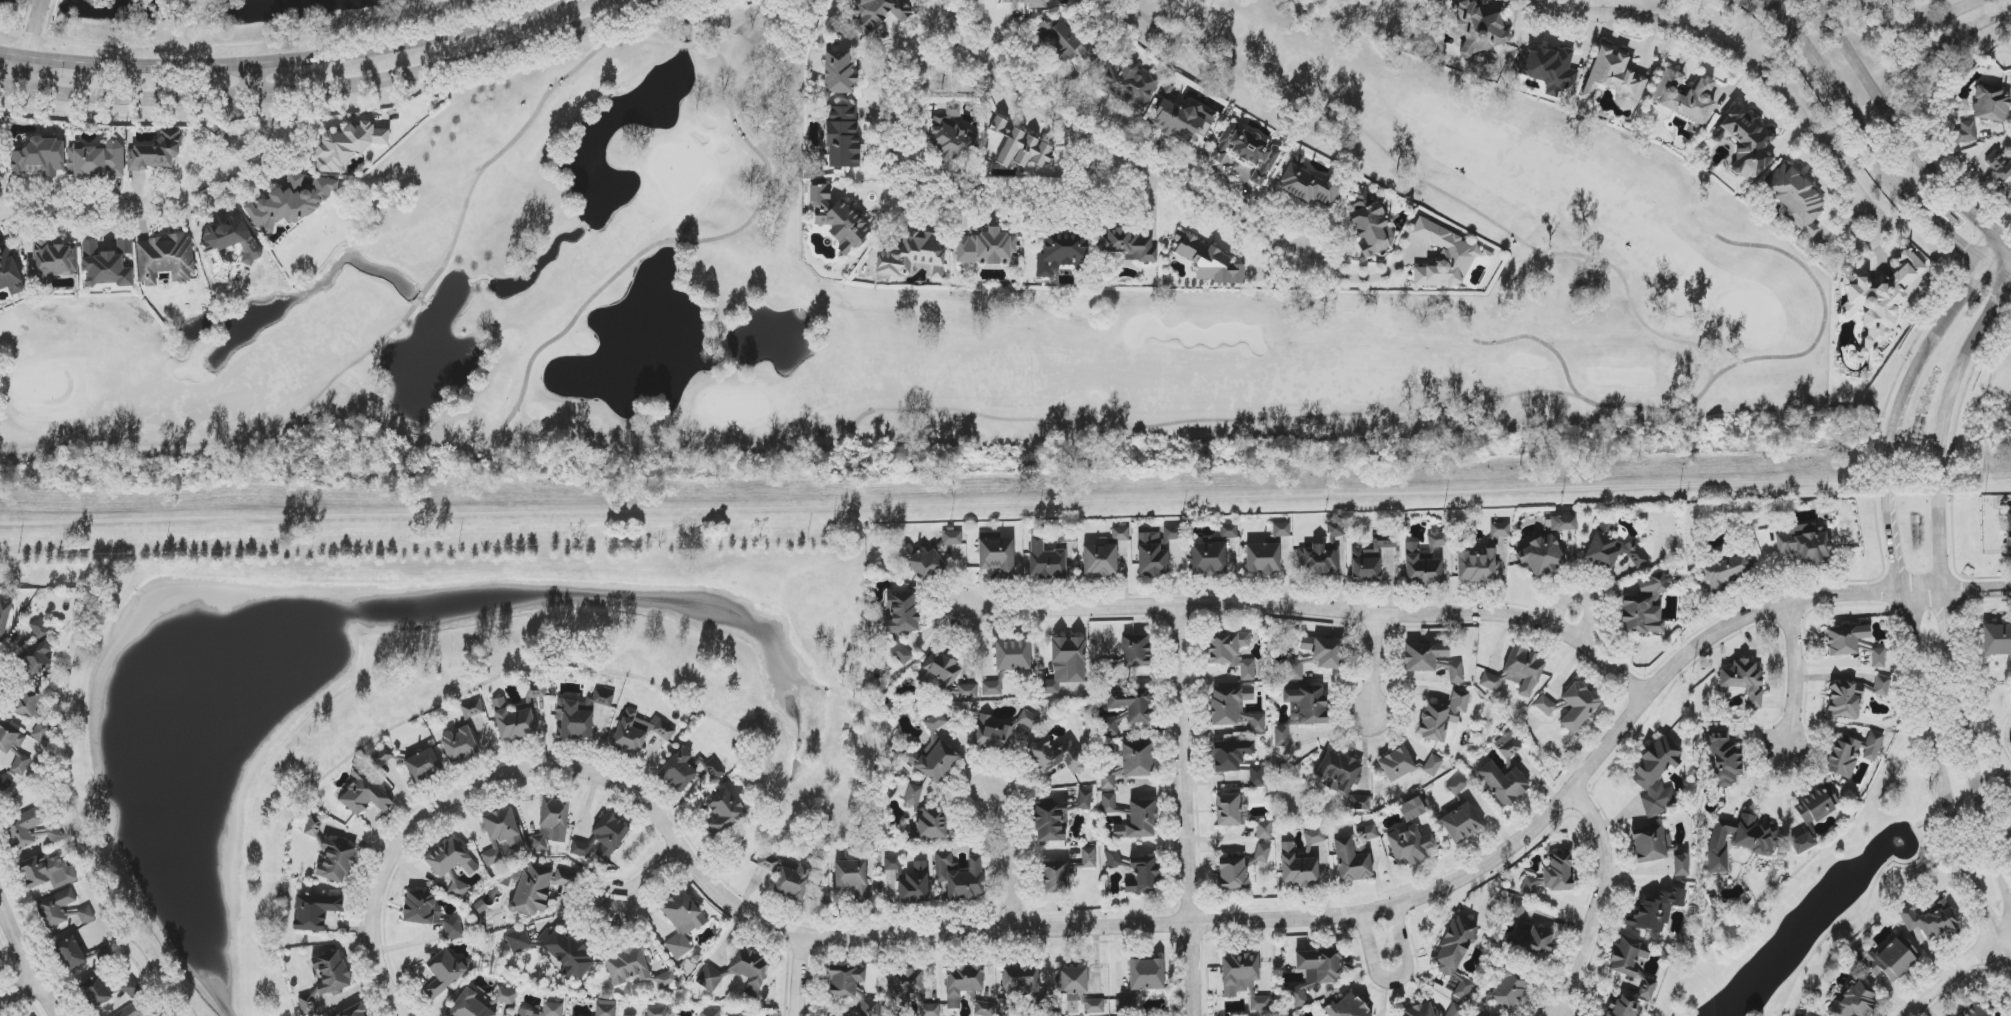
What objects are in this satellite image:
building: (1027, 3)
park: (269, 11)
building: (880, 13)
building: (1477, 28)
road: (195, 33)
road: (1906, 37)
building: (1061, 42)
road: (32, 44)
road: (1725, 54)
road: (1927, 54)
road: (286, 60)
building: (1548, 68)
building: (839, 72)
road: (259, 76)
building: (1615, 79)
road: (340, 84)
building: (1685, 96)
building: (1991, 104)
building: (1181, 121)
road: (322, 125)
building: (1965, 132)
building: (951, 134)
road: (1899, 134)
building: (843, 137)
road: (267, 143)
building: (1746, 143)
building: (347, 146)
building: (1021, 147)
road: (1105, 148)
building: (156, 152)
building: (1248, 152)
road: (1876, 153)
building: (40, 157)
building: (1299, 160)
building: (97, 161)
building: (1999, 165)
building: (1, 176)
building: (1308, 186)
building: (3, 188)
building: (1797, 199)
building: (290, 202)
road: (932, 203)
road: (116, 211)
building: (837, 219)
building: (1370, 224)
building: (228, 244)
building: (1128, 245)
road: (1866, 245)
building: (986, 247)
building: (1061, 254)
building: (912, 256)
building: (1443, 256)
building: (165, 258)
building: (1209, 261)
building: (52, 262)
building: (108, 264)
building: (9, 273)
road: (1361, 278)
building: (1883, 298)
park: (932, 299)
building: (1563, 523)
building: (1281, 530)
building: (1335, 530)
building: (1500, 530)
building: (1229, 531)
building: (2008, 533)
building: (1120, 534)
building: (952, 538)
building: (1804, 543)
building: (1158, 550)
building: (1613, 553)
building: (997, 556)
building: (1540, 556)
building: (1208, 558)
building: (1263, 558)
building: (1319, 560)
building: (1046, 561)
building: (1100, 561)
building: (1425, 561)
building: (922, 562)
building: (1477, 567)
building: (1722, 573)
road: (1940, 576)
road: (1582, 596)
road: (1901, 603)
building: (1644, 605)
road: (1319, 611)
building: (901, 613)
building: (4, 617)
building: (39, 629)
building: (1845, 639)
building: (1996, 639)
building: (1136, 651)
building: (1323, 651)
building: (1231, 652)
building: (902, 654)
building: (1012, 654)
building: (1423, 656)
building: (1878, 658)
building: (36, 660)
building: (1066, 663)
road: (1376, 665)
building: (1295, 670)
building: (939, 671)
building: (1456, 672)
building: (1517, 673)
road: (1794, 675)
building: (1743, 682)
building: (1882, 686)
building: (992, 688)
building: (535, 691)
building: (968, 691)
building: (1845, 700)
building: (27, 703)
building: (1132, 704)
building: (1545, 706)
building: (1578, 706)
building: (1234, 708)
building: (472, 709)
building: (579, 715)
building: (1029, 719)
building: (1443, 719)
building: (512, 721)
building: (1110, 727)
building: (639, 732)
building: (991, 734)
building: (1281, 736)
road: (2007, 737)
building: (9, 738)
building: (459, 745)
building: (1507, 745)
building: (1852, 753)
building: (933, 755)
building: (1231, 755)
building: (383, 756)
building: (1055, 757)
building: (1723, 758)
building: (1137, 759)
building: (423, 764)
building: (21, 765)
building: (1406, 765)
building: (678, 770)
building: (710, 770)
building: (1657, 775)
building: (1256, 776)
building: (1343, 778)
building: (1107, 780)
building: (4, 783)
building: (1503, 783)
building: (1457, 785)
building: (363, 795)
building: (914, 796)
building: (1084, 800)
building: (1108, 803)
building: (1815, 806)
building: (1230, 809)
building: (1411, 809)
building: (724, 811)
road: (1187, 812)
building: (1139, 821)
building: (1051, 822)
building: (552, 823)
building: (931, 823)
building: (1461, 823)
building: (22, 830)
building: (1264, 830)
building: (501, 834)
building: (1367, 834)
building: (610, 835)
building: (48, 837)
building: (1314, 837)
building: (1739, 840)
fountain: (1902, 842)
building: (1802, 843)
building: (1651, 844)
building: (1409, 846)
building: (581, 849)
building: (1262, 853)
building: (1089, 857)
building: (1112, 858)
building: (451, 859)
building: (336, 861)
building: (766, 861)
building: (1351, 861)
building: (892, 863)
road: (1010, 863)
building: (1681, 865)
building: (1297, 868)
building: (47, 872)
building: (1232, 873)
building: (1558, 873)
road: (1879, 873)
building: (1144, 875)
building: (960, 876)
building: (852, 877)
building: (1055, 877)
building: (563, 879)
road: (645, 881)
building: (795, 883)
building: (914, 885)
building: (1530, 886)
building: (458, 888)
building: (532, 890)
road: (1603, 905)
building: (55, 908)
building: (1515, 910)
building: (1656, 910)
building: (315, 911)
building: (428, 913)
building: (86, 915)
building: (1929, 919)
building: (682, 922)
road: (1124, 928)
building: (518, 941)
building: (1536, 943)
building: (1455, 947)
building: (71, 954)
building: (568, 954)
building: (1892, 960)
road: (24, 961)
building: (1632, 963)
building: (1320, 965)
building: (628, 966)
building: (0, 967)
building: (748, 968)
road: (1957, 970)
building: (331, 972)
building: (444, 972)
building: (1146, 974)
building: (709, 978)
building: (667, 979)
building: (1243, 979)
road: (797, 980)
building: (1020, 980)
road: (1394, 980)
building: (845, 982)
building: (1073, 982)
building: (962, 983)
building: (904, 987)
building: (1463, 990)
building: (95, 992)
road: (16, 995)
building: (505, 996)
building: (1854, 1001)
building: (469, 1006)
building: (1094, 1006)
building: (1124, 1006)
building: (871, 1007)
building: (1346, 1007)
building: (1624, 1007)
building: (606, 1008)
building: (928, 1008)
building: (984, 1009)
building: (545, 1010)
building: (133, 1011)
building: (657, 1011)
building: (1973, 1011)
building: (353, 1012)
building: (1429, 1012)
building: (709, 1013)
building: (159, 1014)
building: (735, 1015)
building: (1806, 1015)

